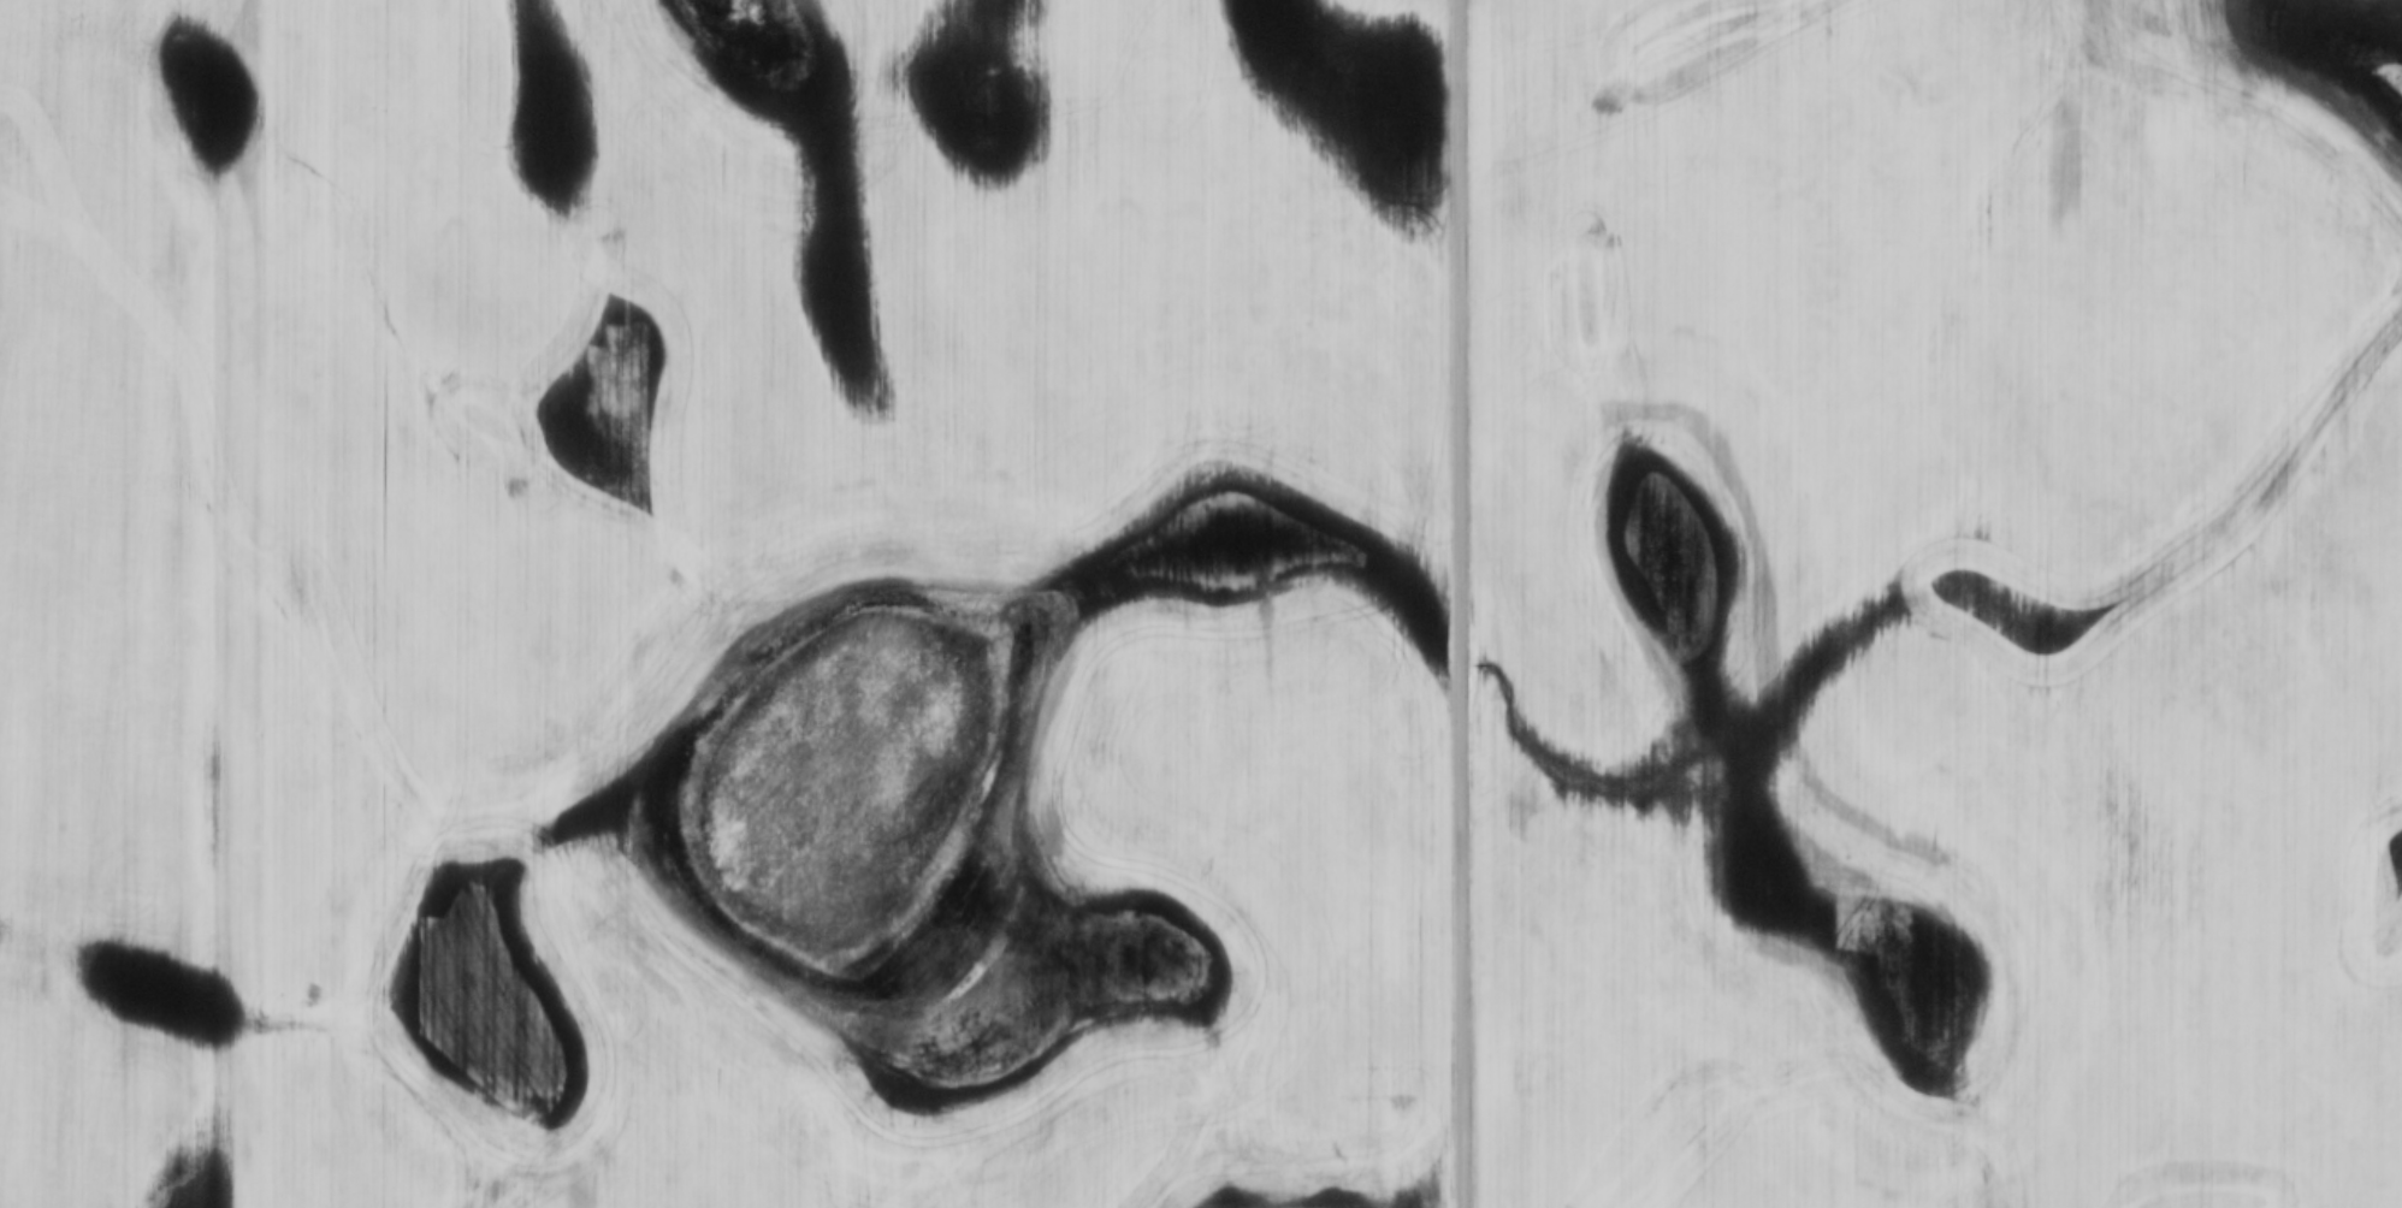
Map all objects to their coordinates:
road: (1456, 604)

